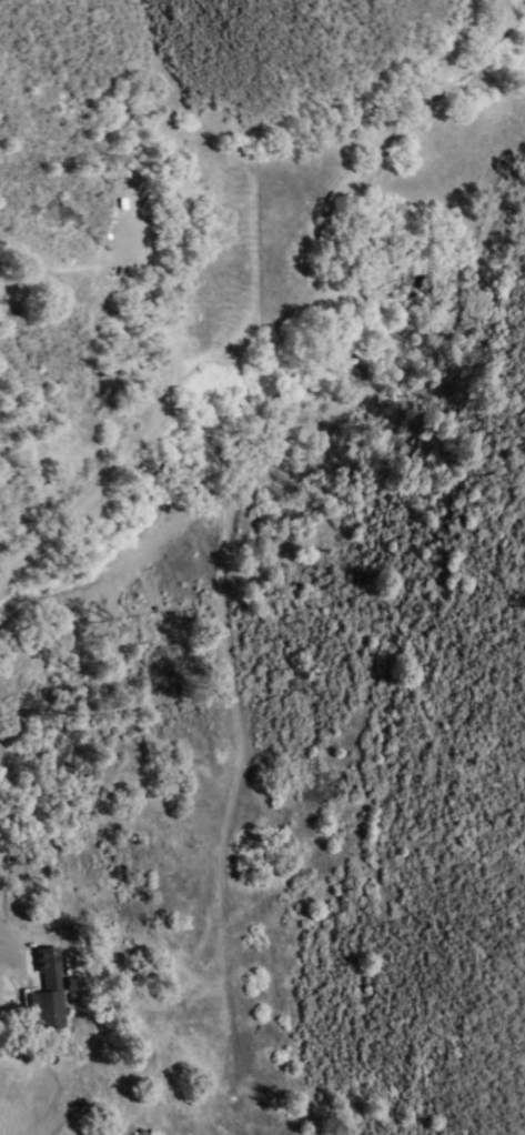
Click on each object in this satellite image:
road: (7, 814)
building: (48, 996)

